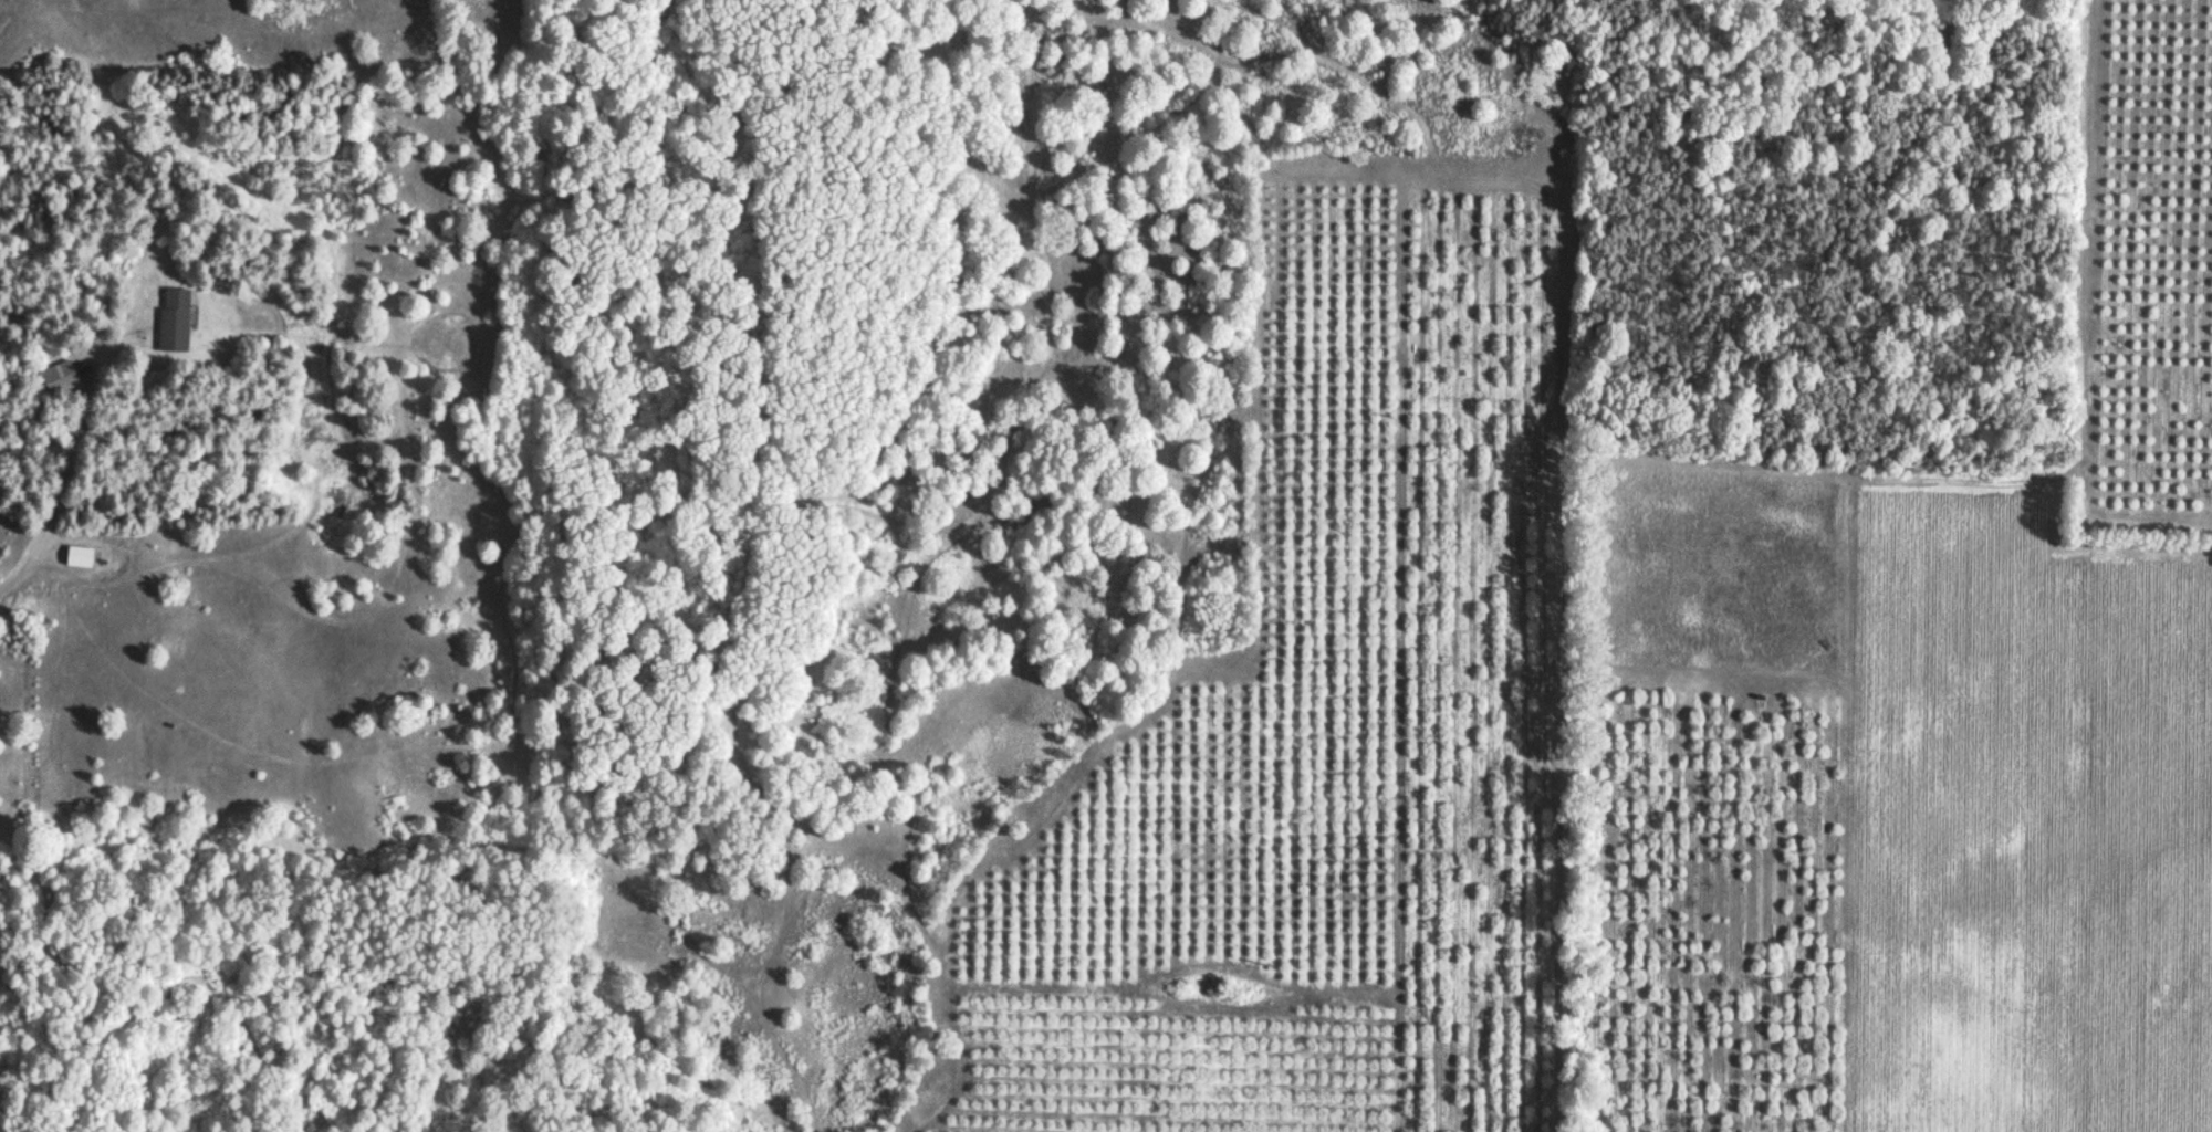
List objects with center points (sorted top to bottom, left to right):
building: (170, 322)
building: (55, 379)

